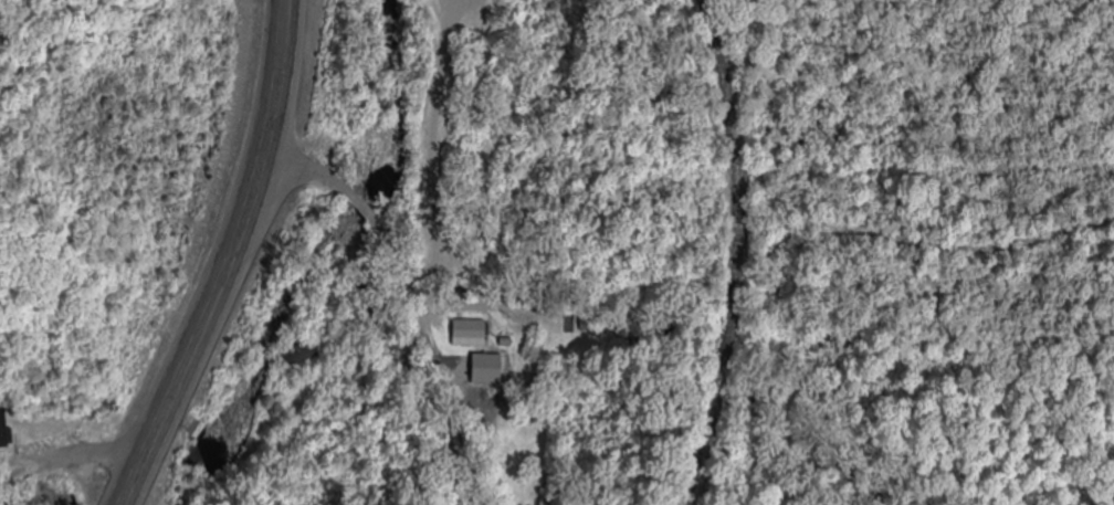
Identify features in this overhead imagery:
road: (716, 119)
road: (308, 171)
road: (364, 213)
railway: (733, 251)
road: (223, 256)
road: (434, 364)
road: (74, 456)
road: (21, 464)

